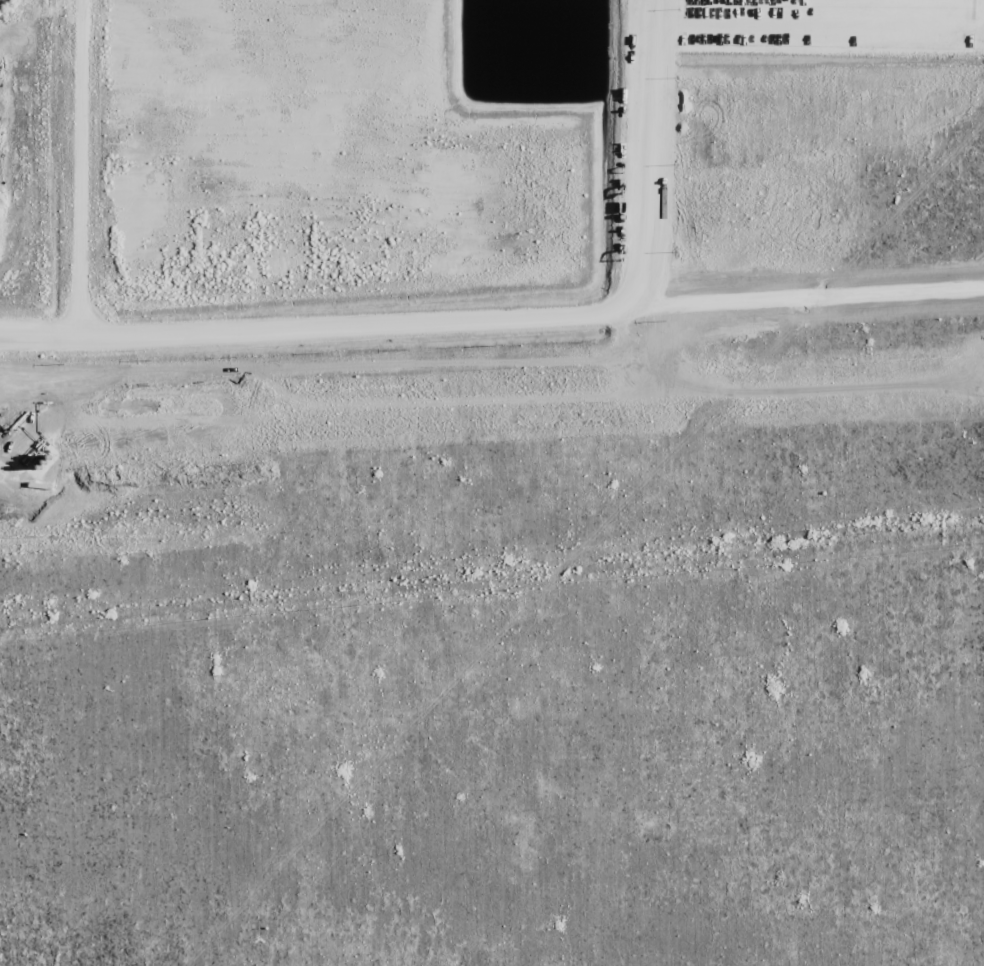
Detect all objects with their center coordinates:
crop: (494, 485)

